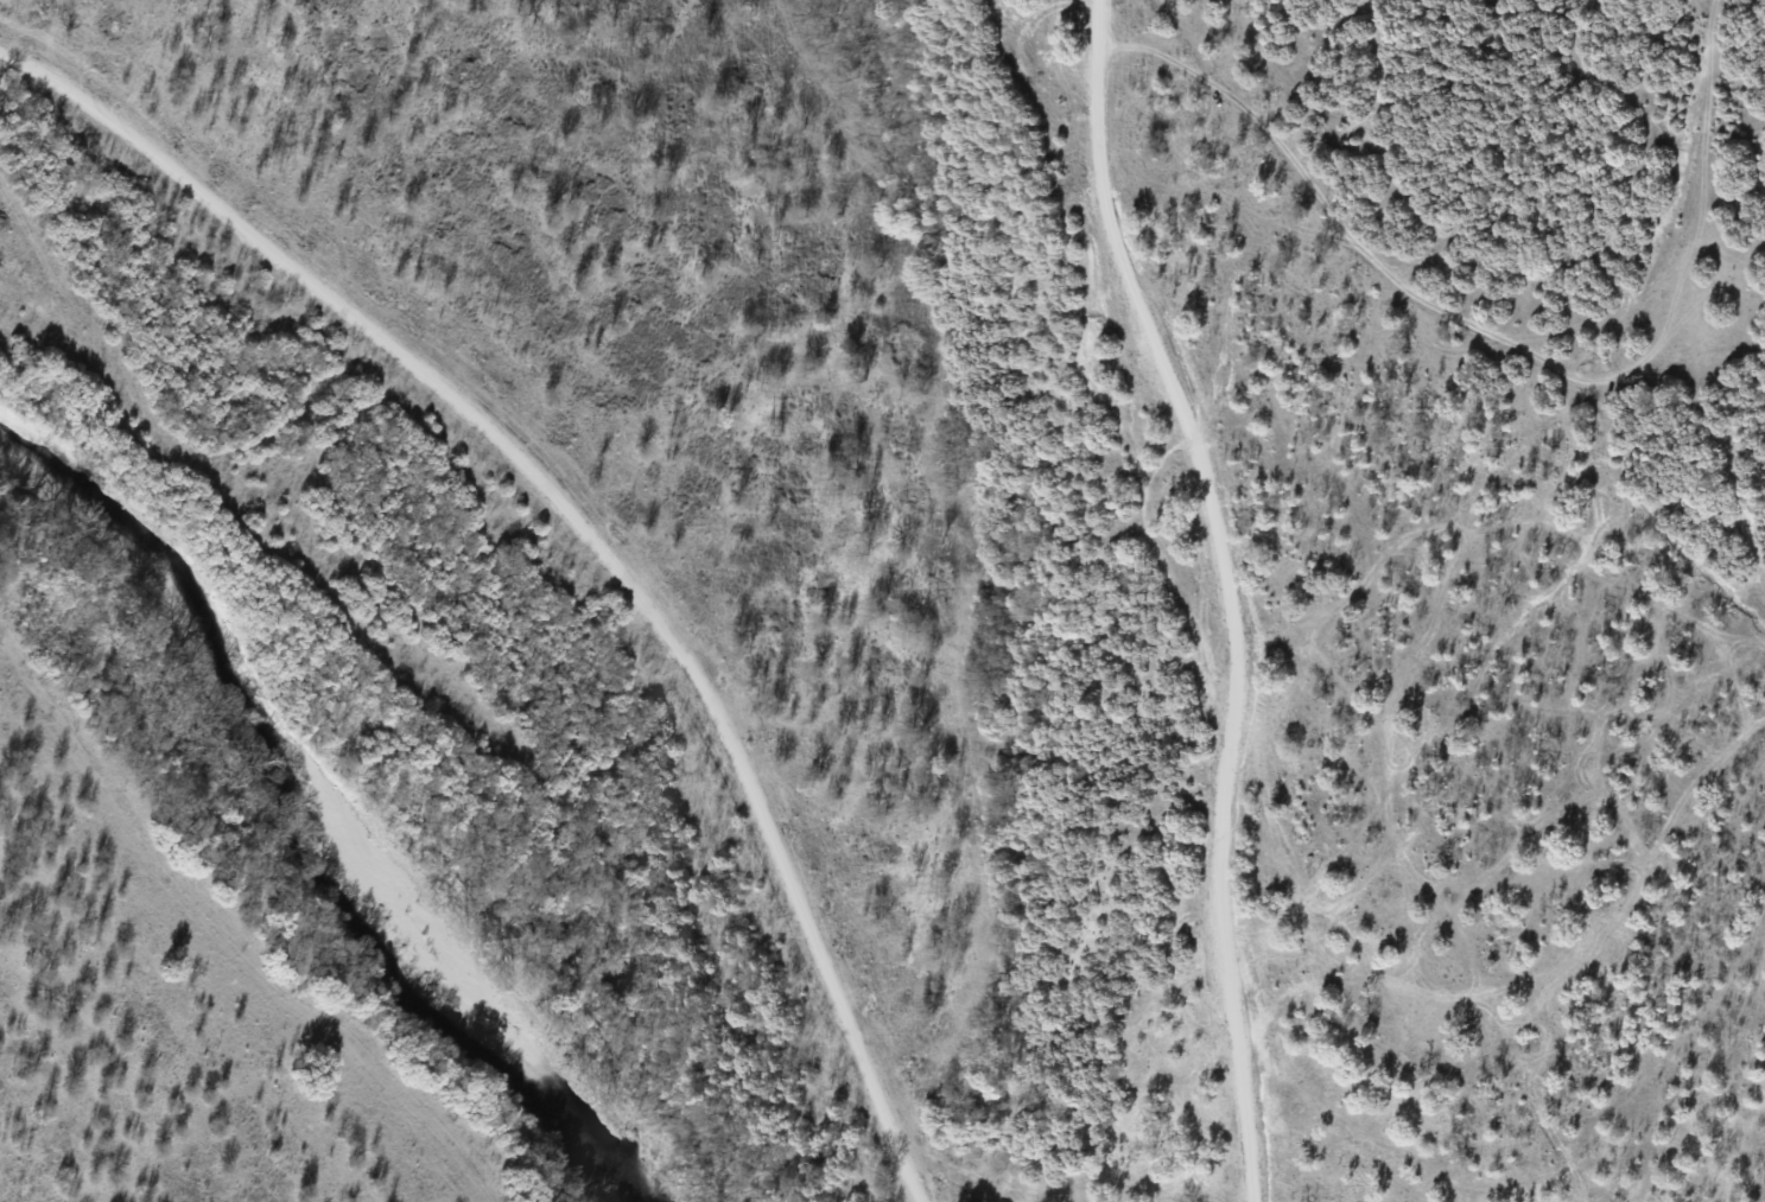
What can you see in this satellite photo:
road: (586, 526)
road: (1227, 591)
river: (307, 837)

